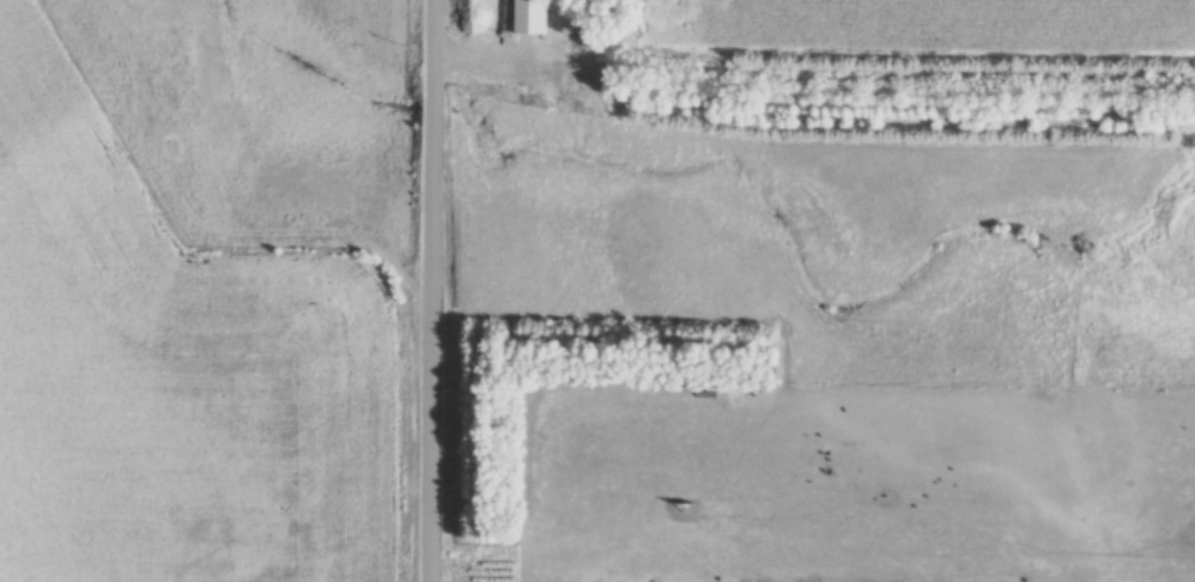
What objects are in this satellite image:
road: (429, 291)

